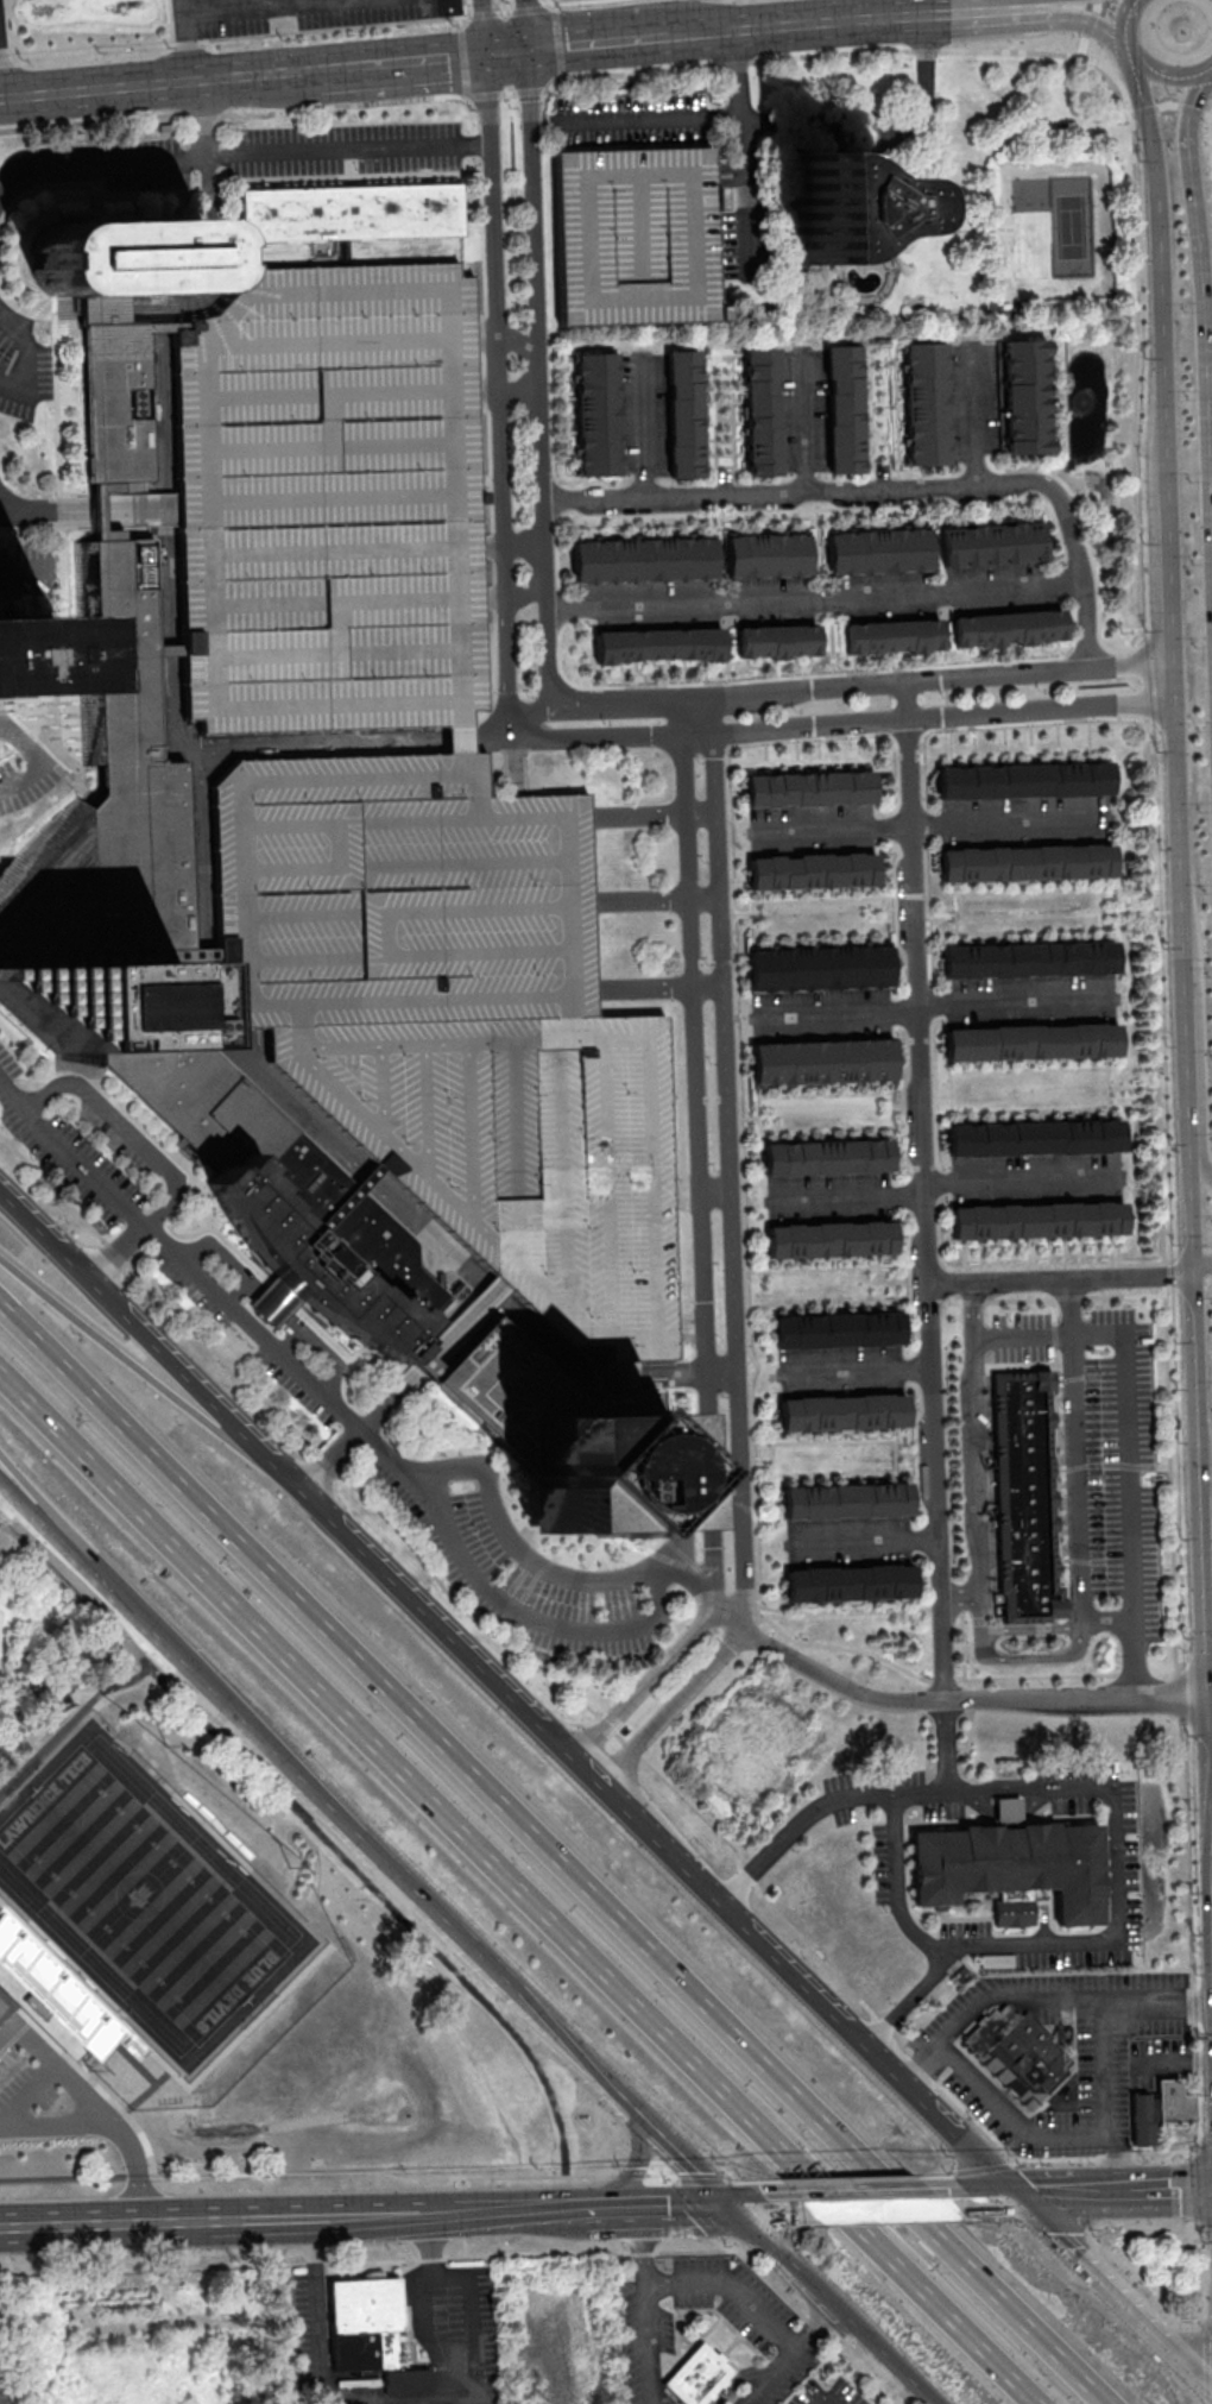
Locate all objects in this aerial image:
road: (574, 1)
road: (977, 6)
road: (465, 7)
road: (531, 10)
road: (852, 11)
road: (505, 12)
parking lot: (309, 13)
road: (485, 13)
road: (1128, 17)
road: (656, 19)
road: (1042, 20)
road: (460, 21)
road: (522, 26)
road: (482, 27)
road: (334, 29)
road: (741, 31)
road: (184, 40)
road: (558, 40)
road: (182, 42)
road: (91, 48)
road: (861, 51)
traffic signals: (524, 54)
road: (5, 55)
road: (505, 55)
road: (6, 56)
road: (1128, 56)
traffic signals: (486, 57)
road: (465, 63)
road: (335, 70)
road: (736, 74)
road: (1206, 78)
road: (1168, 82)
road: (554, 83)
road: (91, 90)
road: (529, 92)
road: (510, 94)
road: (484, 95)
road: (1170, 103)
road: (232, 114)
road: (652, 119)
road: (198, 121)
road: (882, 132)
road: (1189, 134)
road: (241, 157)
road: (744, 191)
building: (838, 207)
building: (351, 213)
building: (635, 233)
parking lot: (635, 233)
road: (343, 253)
building: (124, 257)
road: (1161, 277)
road: (168, 328)
road: (518, 341)
road: (30, 353)
road: (721, 355)
road: (1065, 366)
road: (549, 369)
road: (539, 379)
road: (499, 390)
road: (1200, 392)
road: (520, 396)
building: (1025, 397)
road: (871, 401)
building: (926, 403)
building: (844, 409)
building: (763, 411)
building: (686, 413)
road: (897, 413)
building: (598, 415)
road: (976, 421)
road: (806, 424)
road: (644, 429)
road: (886, 461)
road: (726, 465)
road: (592, 480)
road: (891, 487)
parking lot: (333, 503)
road: (856, 508)
road: (525, 540)
building: (991, 543)
road: (1087, 543)
road: (819, 550)
building: (878, 552)
building: (769, 555)
building: (644, 559)
road: (1170, 571)
road: (528, 593)
road: (815, 600)
building: (1008, 628)
building: (891, 636)
building: (777, 641)
road: (945, 641)
road: (832, 643)
building: (658, 644)
road: (171, 650)
building: (27, 654)
road: (726, 656)
road: (741, 680)
road: (863, 686)
road: (695, 717)
road: (829, 726)
road: (34, 762)
building: (1023, 780)
building: (809, 788)
road: (1176, 792)
building: (404, 800)
parking lot: (404, 800)
road: (922, 810)
road: (654, 816)
road: (934, 824)
building: (1025, 862)
building: (812, 871)
road: (1101, 894)
road: (656, 900)
road: (813, 900)
road: (1128, 912)
building: (95, 913)
road: (818, 936)
road: (203, 952)
building: (1030, 961)
building: (819, 968)
road: (658, 988)
building: (94, 1003)
road: (934, 1008)
parking lot: (457, 1019)
road: (1182, 1019)
road: (908, 1036)
building: (1033, 1041)
building: (822, 1062)
road: (738, 1066)
road: (820, 1094)
road: (955, 1112)
road: (827, 1128)
road: (122, 1129)
road: (1160, 1129)
road: (1194, 1132)
building: (1035, 1139)
building: (828, 1158)
road: (370, 1177)
road: (1023, 1179)
road: (731, 1182)
road: (701, 1192)
road: (926, 1192)
road: (846, 1197)
building: (1037, 1221)
building: (829, 1240)
road: (118, 1254)
road: (179, 1258)
building: (309, 1264)
road: (968, 1269)
road: (703, 1272)
road: (1200, 1272)
road: (1059, 1278)
road: (910, 1283)
road: (234, 1289)
road: (490, 1292)
road: (1189, 1296)
road: (1054, 1298)
road: (273, 1305)
road: (1050, 1310)
building: (838, 1329)
road: (292, 1343)
road: (856, 1370)
road: (147, 1372)
road: (669, 1373)
road: (592, 1376)
building: (841, 1412)
road: (360, 1431)
road: (834, 1440)
road: (1130, 1447)
road: (977, 1456)
road: (896, 1464)
building: (594, 1471)
road: (826, 1474)
parking lot: (1111, 1474)
road: (301, 1487)
road: (18, 1494)
road: (681, 1496)
building: (1025, 1496)
building: (846, 1500)
road: (4, 1513)
road: (1073, 1518)
road: (1201, 1522)
road: (926, 1537)
road: (864, 1541)
road: (515, 1550)
road: (61, 1566)
road: (440, 1580)
road: (1207, 1580)
building: (848, 1582)
road: (522, 1615)
road: (730, 1619)
road: (1205, 1626)
road: (964, 1645)
road: (961, 1679)
road: (966, 1703)
road: (675, 1706)
road: (70, 1722)
road: (1210, 1738)
road: (861, 1792)
road: (315, 1793)
building: (1008, 1811)
road: (657, 1832)
road: (555, 1854)
building: (1012, 1869)
road: (367, 1881)
road: (895, 1881)
road: (522, 1889)
park: (144, 1895)
road: (753, 1930)
road: (1113, 1934)
road: (1039, 1997)
building: (1020, 2054)
road: (1105, 2063)
road: (56, 2068)
parking lot: (25, 2083)
road: (908, 2085)
building: (1160, 2109)
road: (126, 2114)
road: (1012, 2121)
road: (52, 2126)
road: (1138, 2153)
road: (681, 2157)
road: (1121, 2157)
road: (134, 2165)
road: (636, 2171)
road: (662, 2173)
road: (307, 2175)
road: (631, 2175)
road: (1180, 2190)
road: (1135, 2191)
road: (1069, 2195)
traffic signals: (1018, 2197)
road: (984, 2198)
road: (871, 2203)
road: (697, 2208)
road: (763, 2208)
traffic signals: (733, 2209)
road: (686, 2210)
road: (611, 2213)
road: (414, 2217)
road: (121, 2224)
road: (640, 2247)
road: (511, 2257)
road: (277, 2265)
road: (133, 2268)
road: (730, 2290)
road: (1113, 2291)
road: (833, 2308)
road: (280, 2312)
road: (425, 2314)
road: (809, 2320)
road: (317, 2322)
road: (816, 2330)
building: (373, 2334)
road: (646, 2343)
building: (699, 2375)
road: (771, 2377)
road: (826, 2402)

